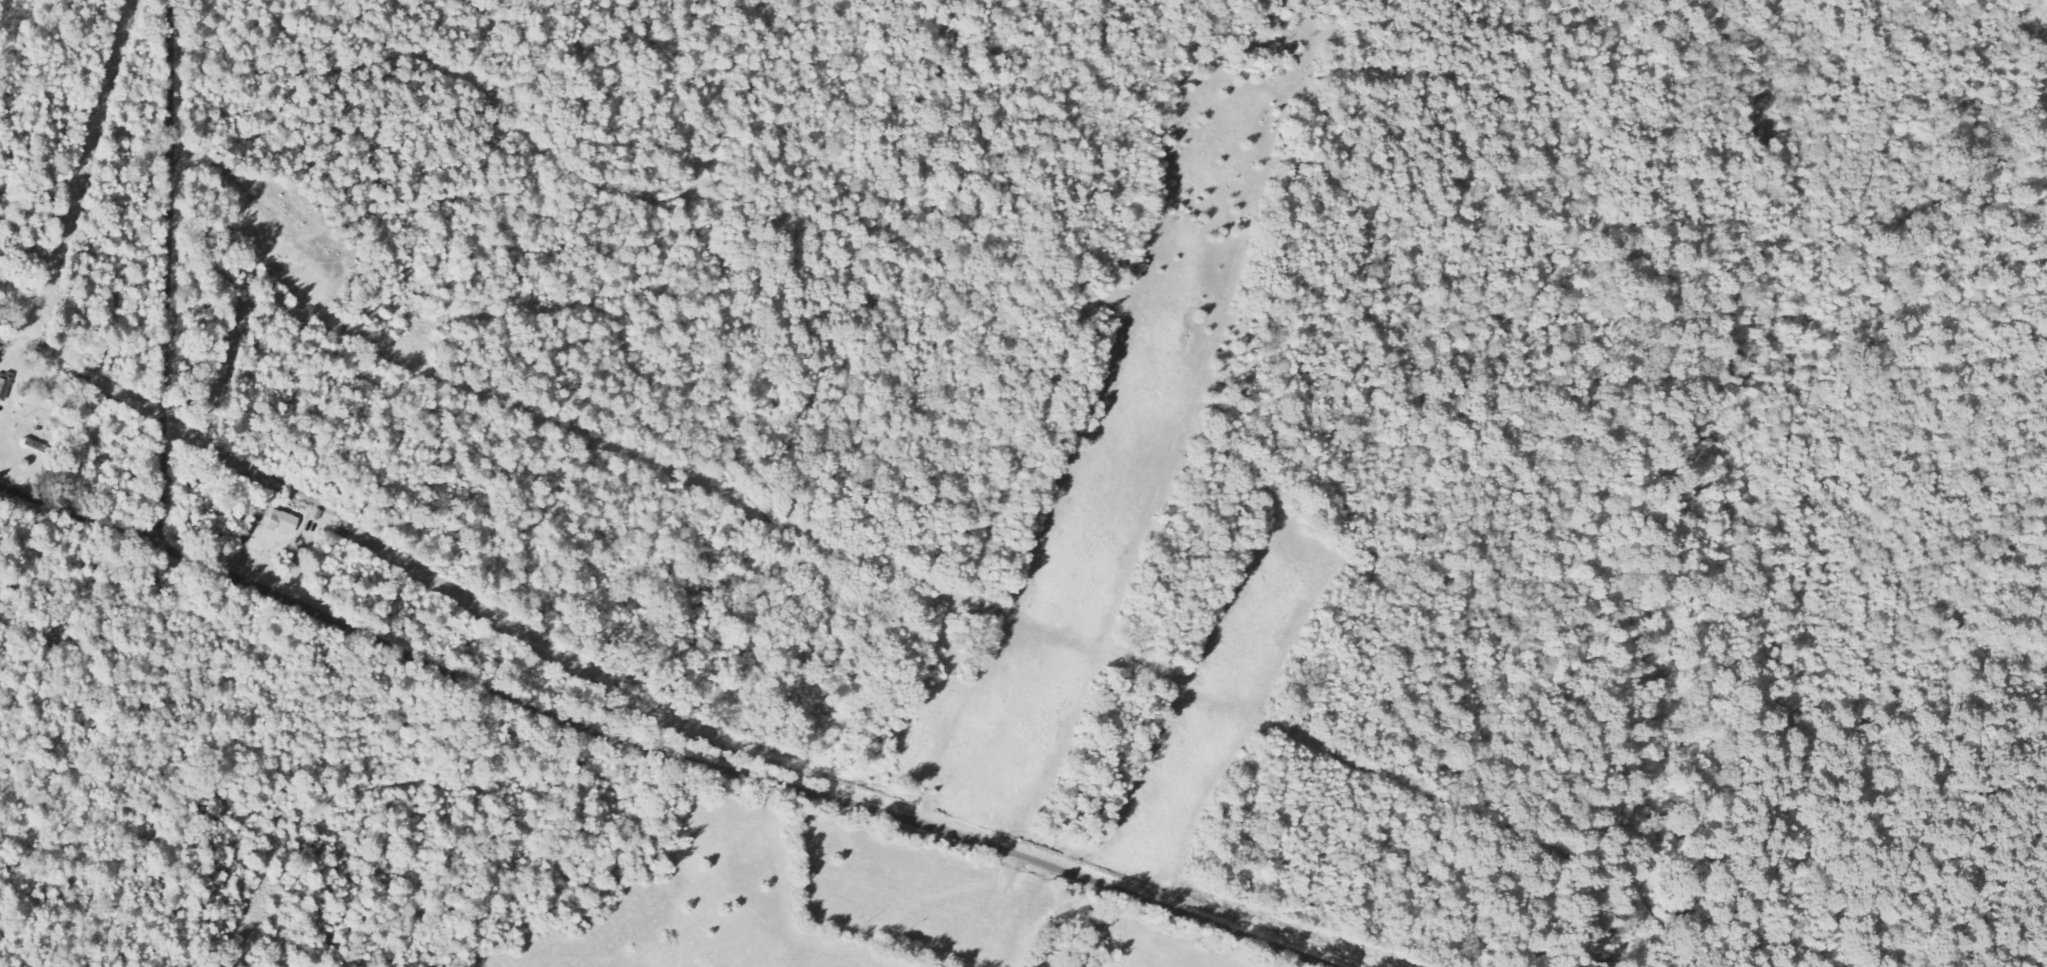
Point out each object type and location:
road: (145, 271)
building: (286, 522)
road: (607, 744)

